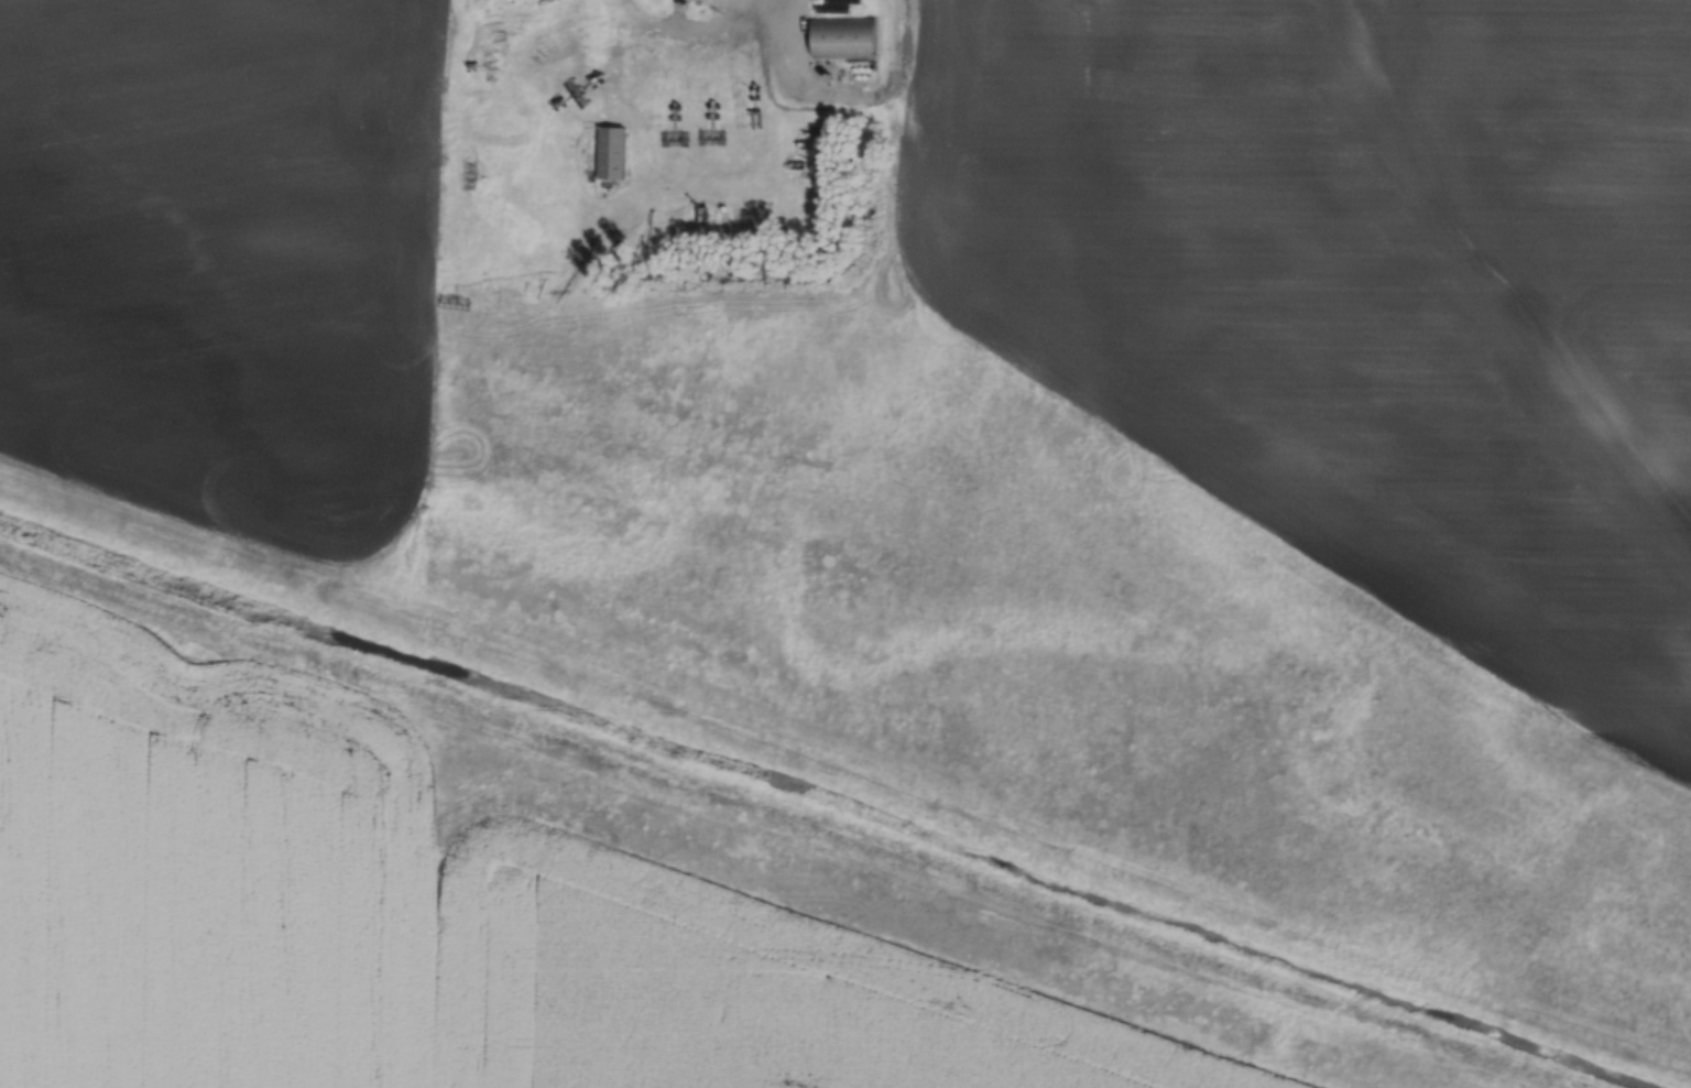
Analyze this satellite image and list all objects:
building: (842, 39)
building: (610, 153)
river: (990, 642)

